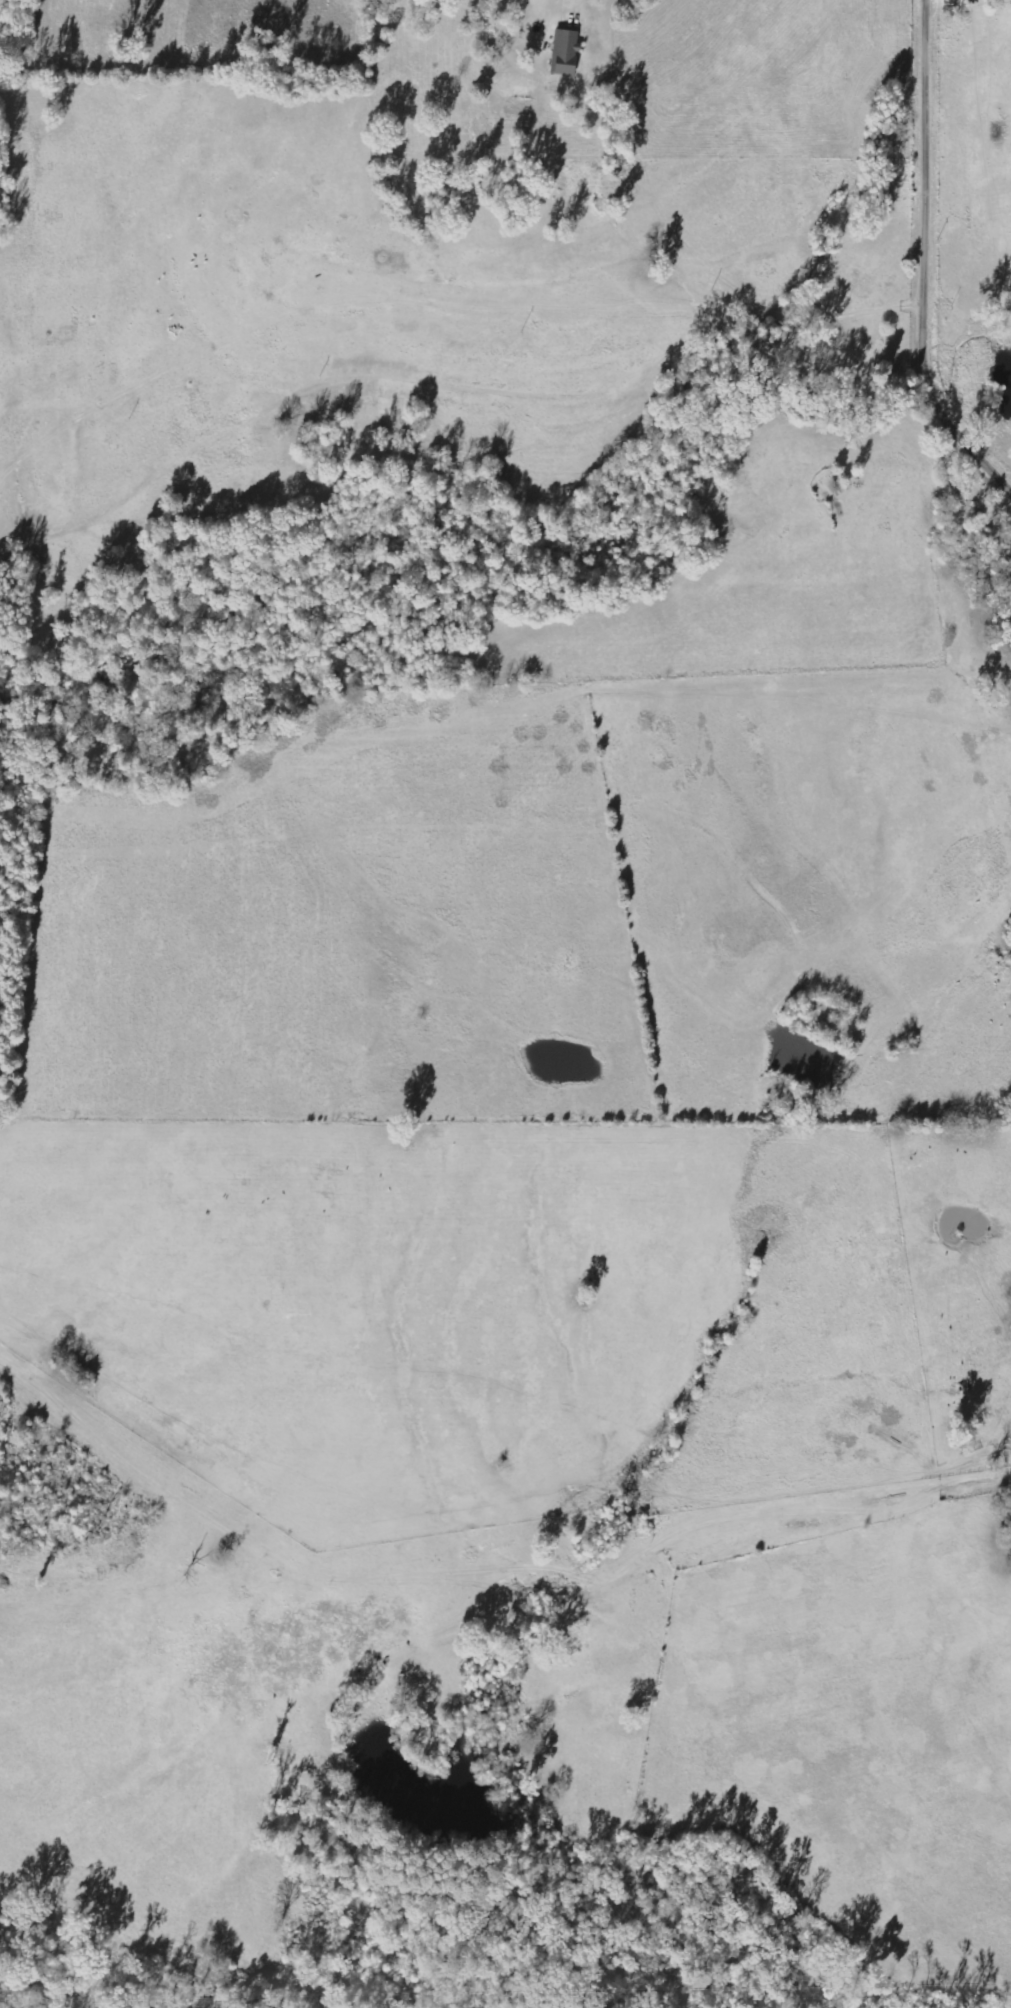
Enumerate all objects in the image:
building: (563, 53)
road: (972, 141)
road: (933, 250)

